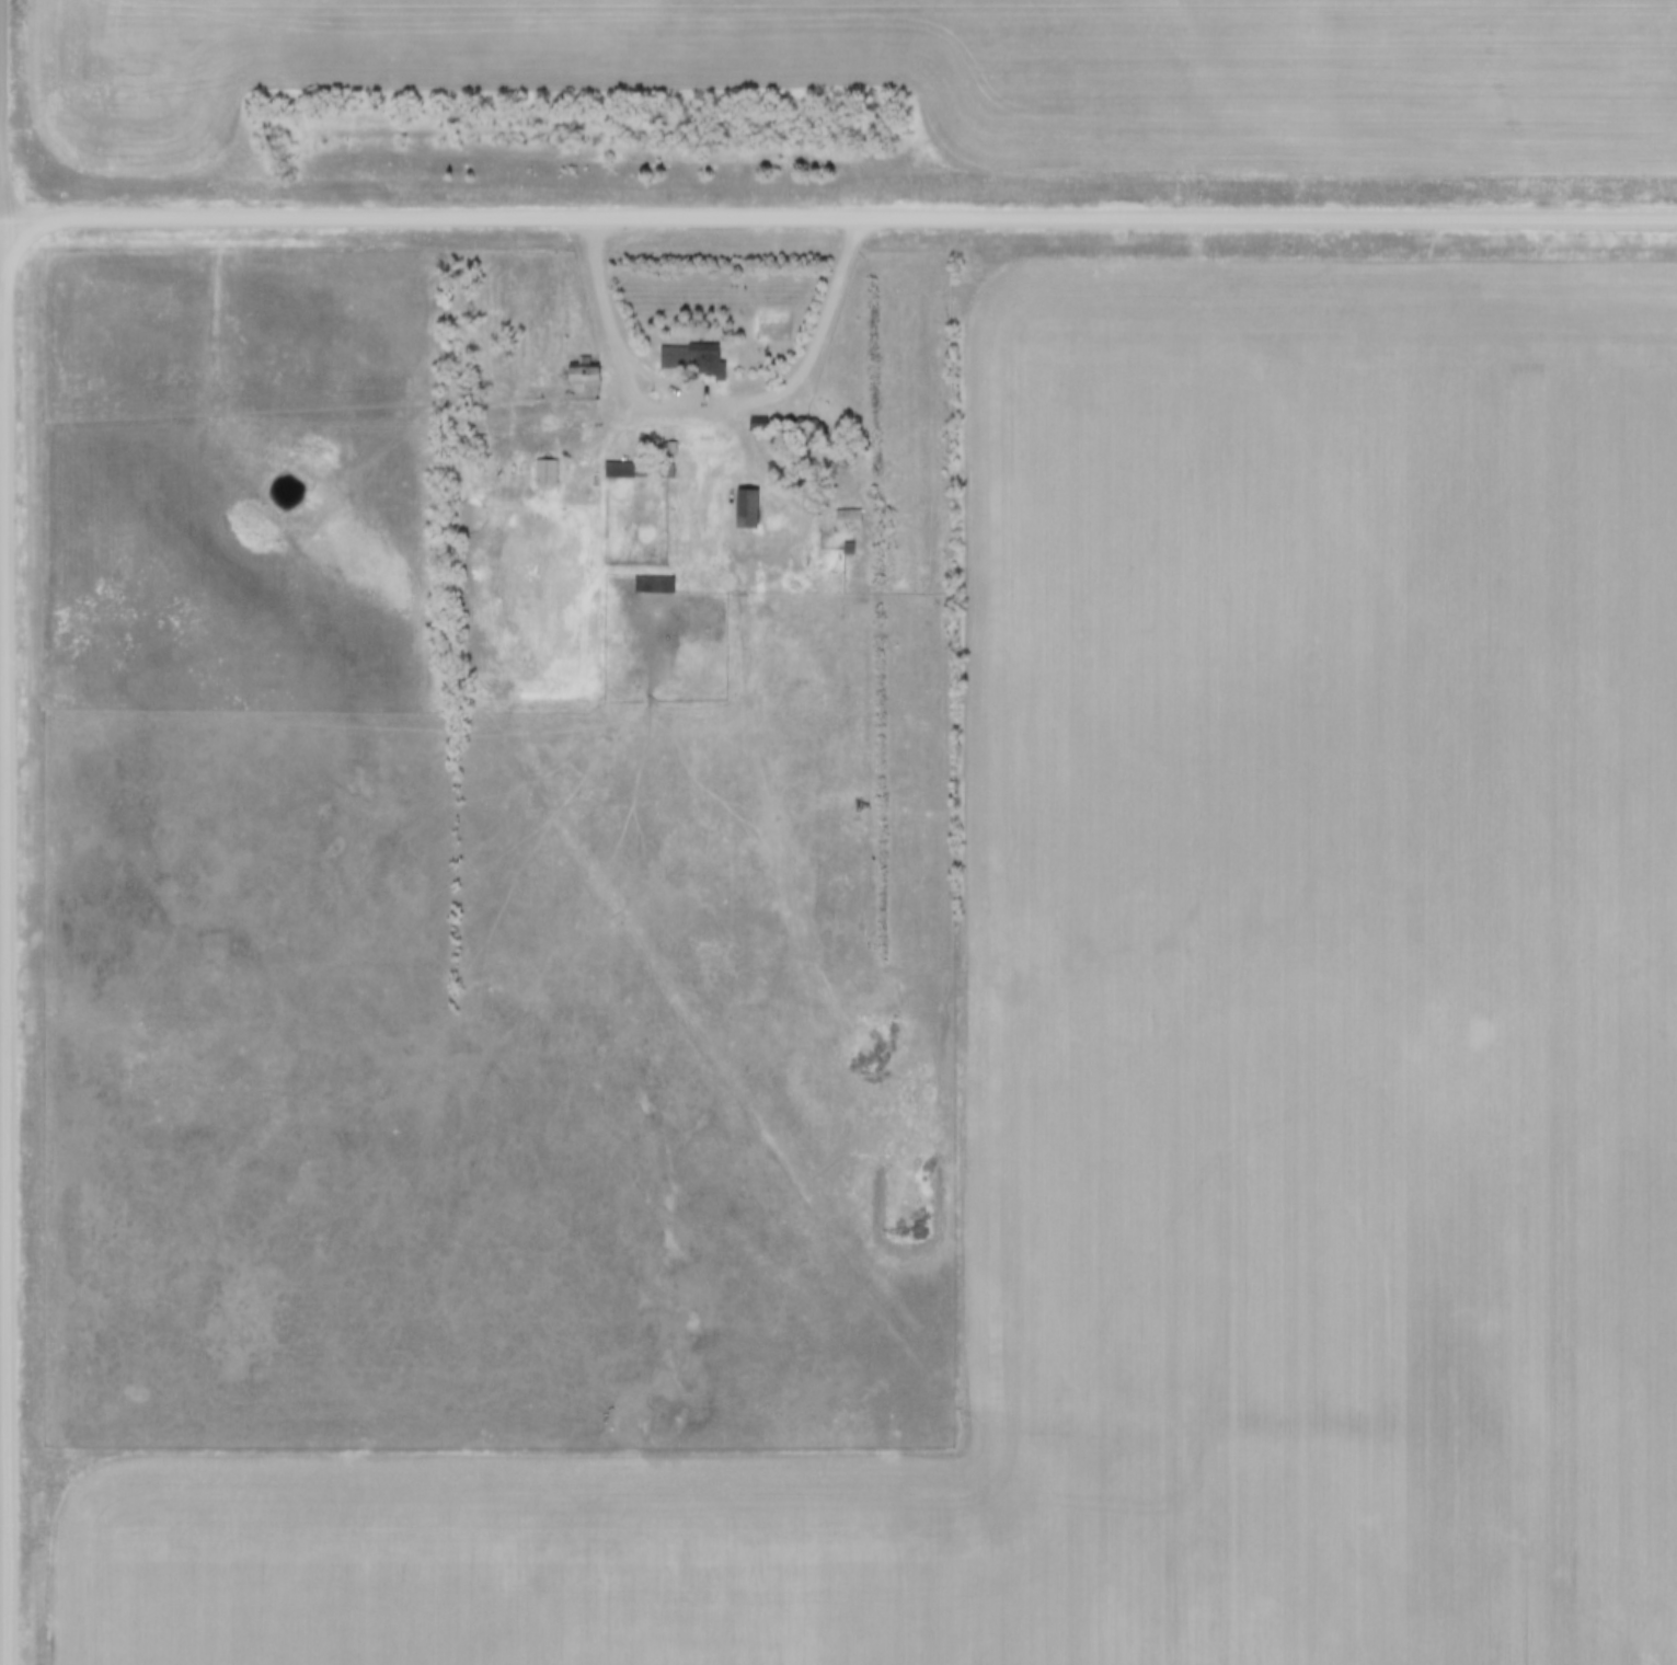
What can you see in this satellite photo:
road: (2, 105)
road: (1, 211)
road: (840, 211)
building: (691, 348)
building: (585, 365)
road: (722, 405)
building: (639, 459)
building: (545, 461)
building: (768, 503)
building: (849, 507)
road: (3, 938)
crop: (1183, 1055)

